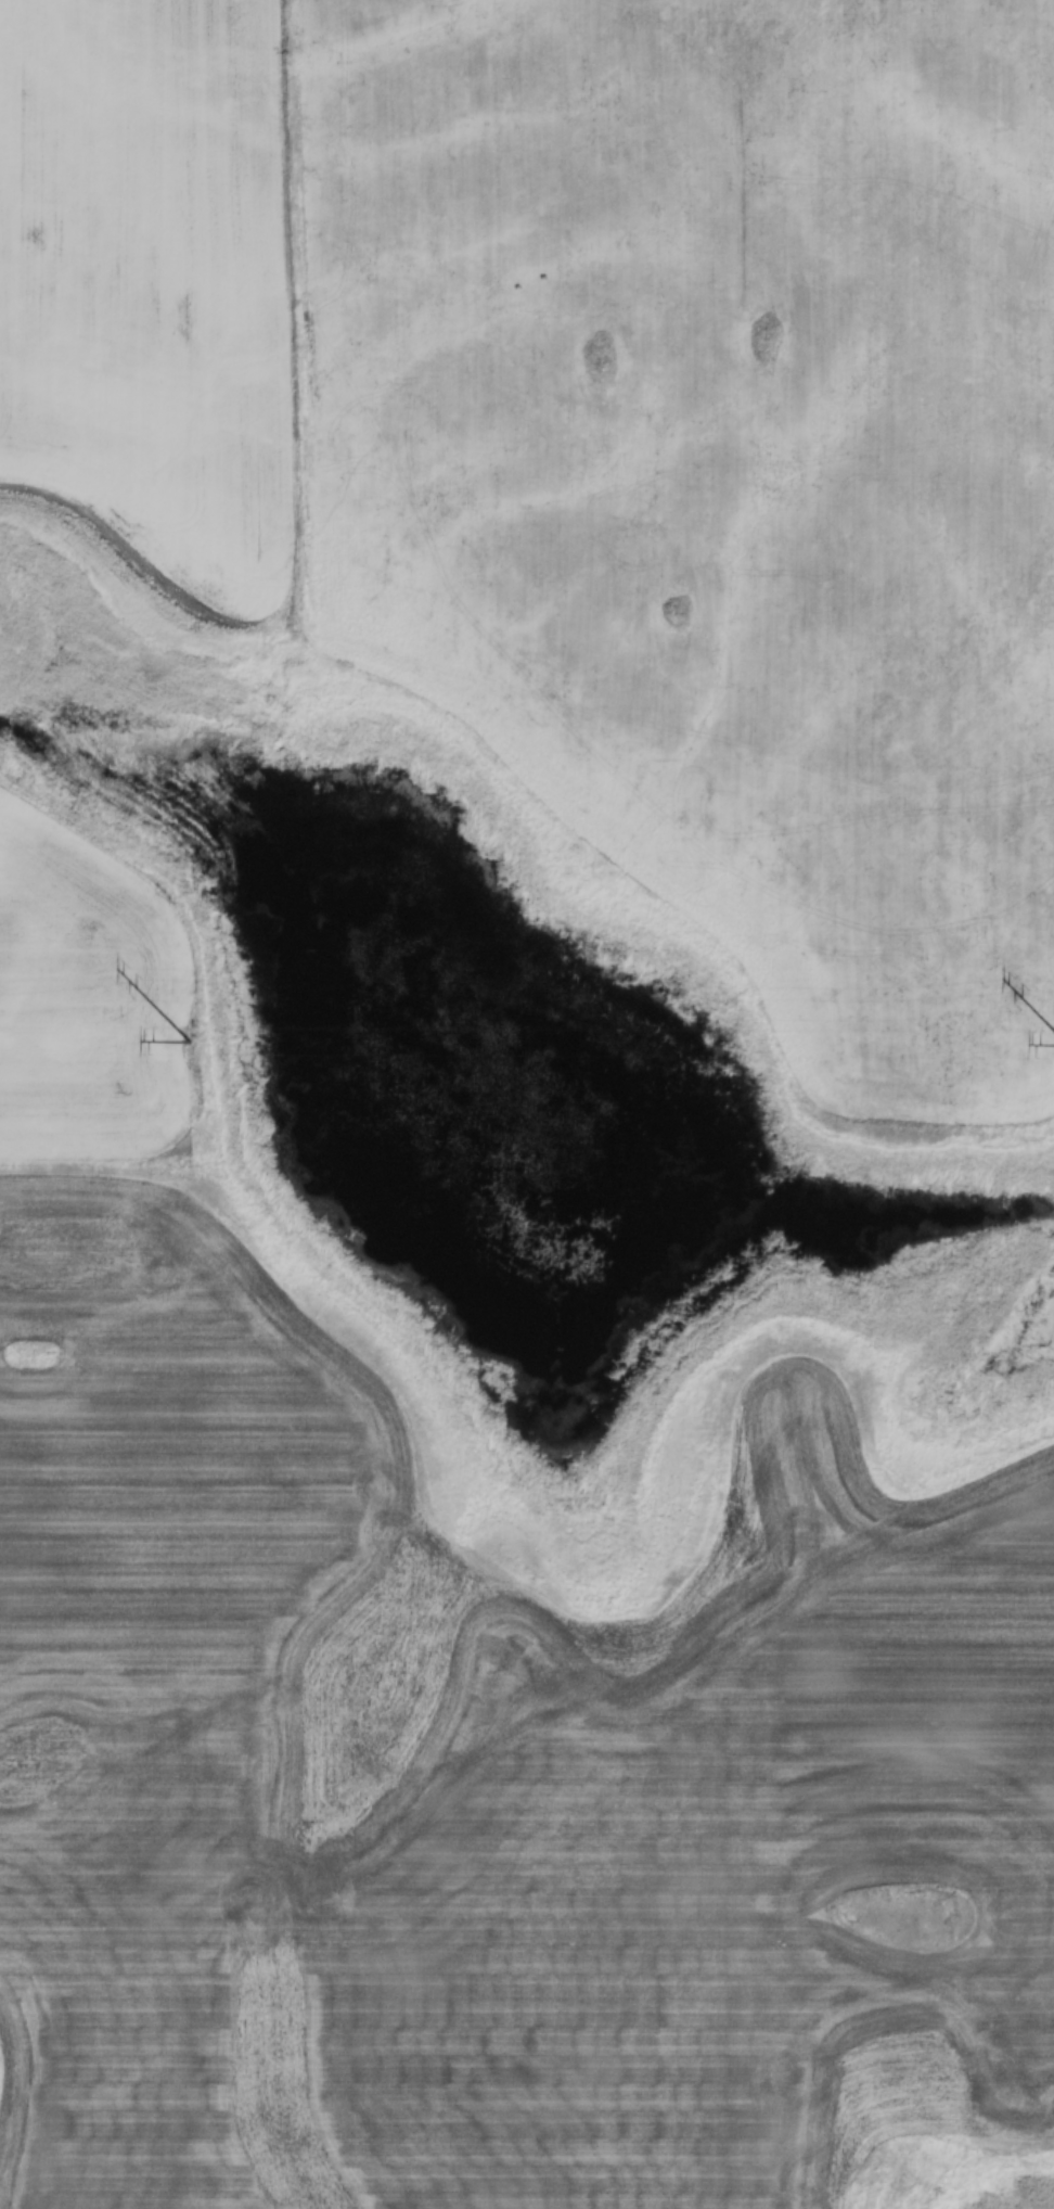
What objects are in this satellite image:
power tower: (184, 1039)

